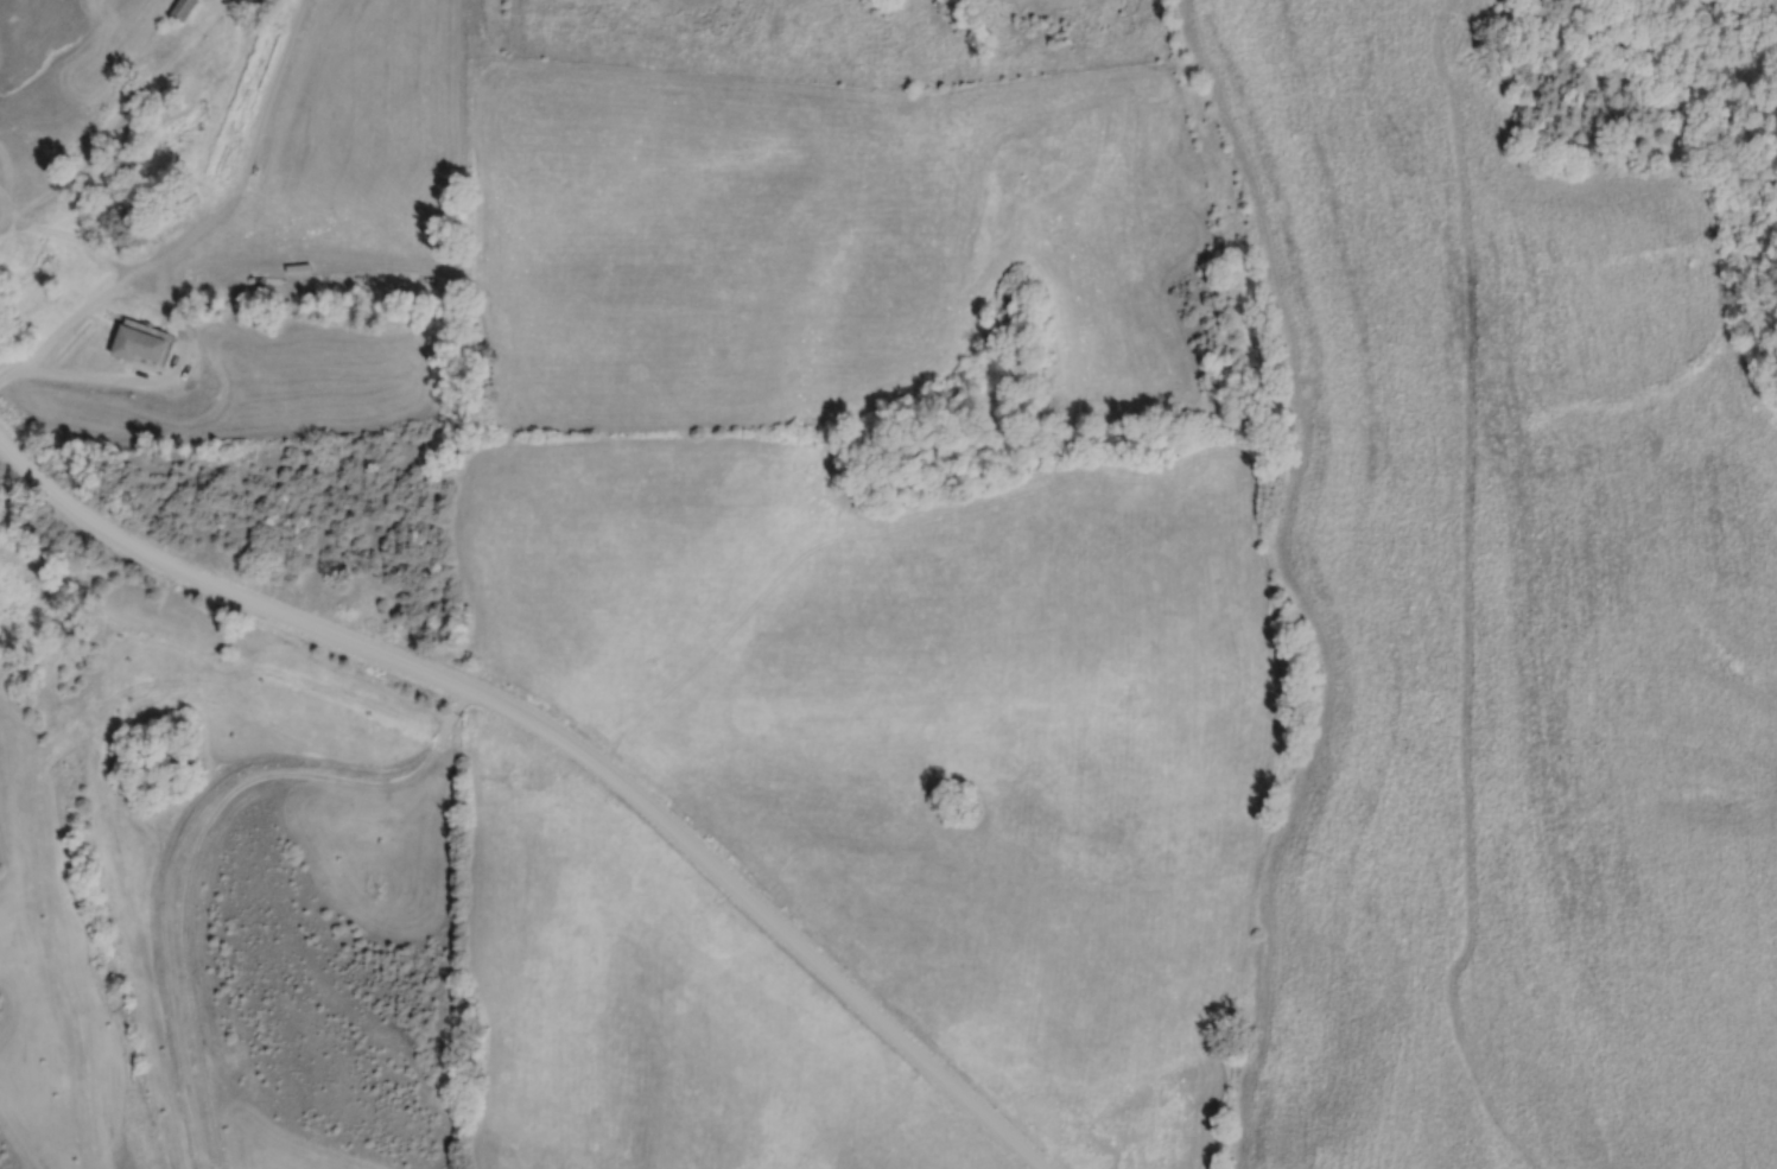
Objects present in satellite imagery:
building: (188, 9)
road: (229, 234)
building: (144, 344)
road: (561, 743)

